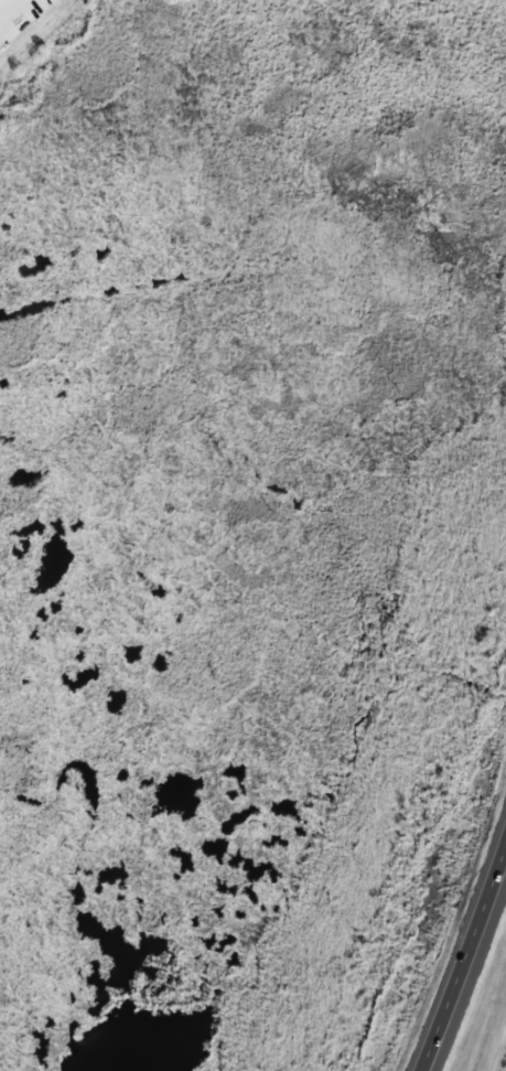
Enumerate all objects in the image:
road: (465, 962)

